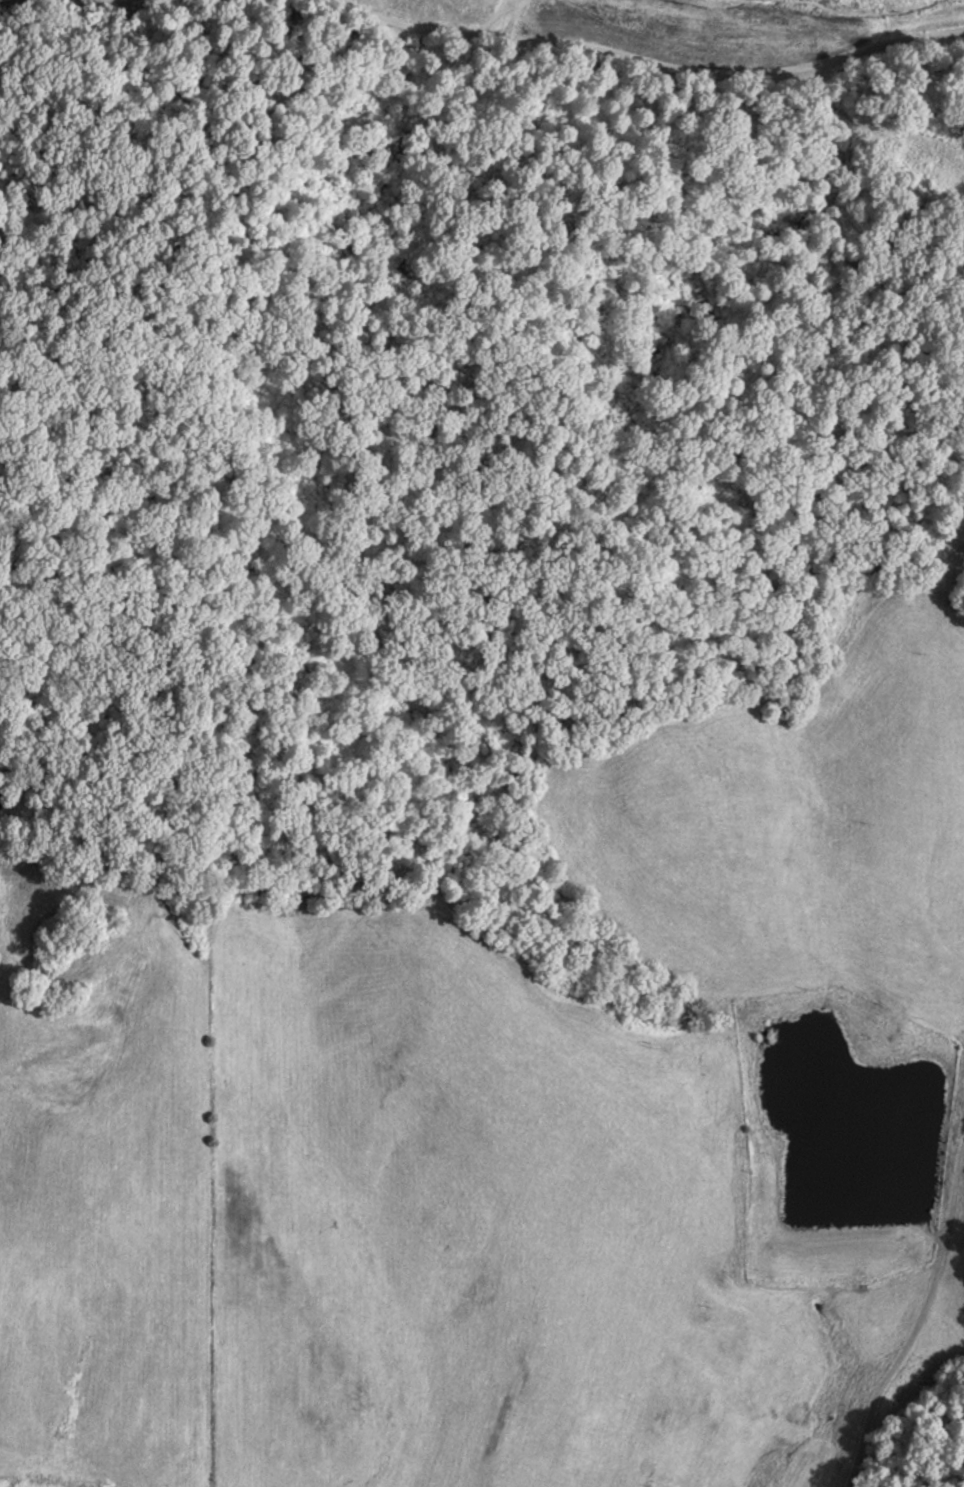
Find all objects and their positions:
building: (0, 0)
road: (651, 58)

